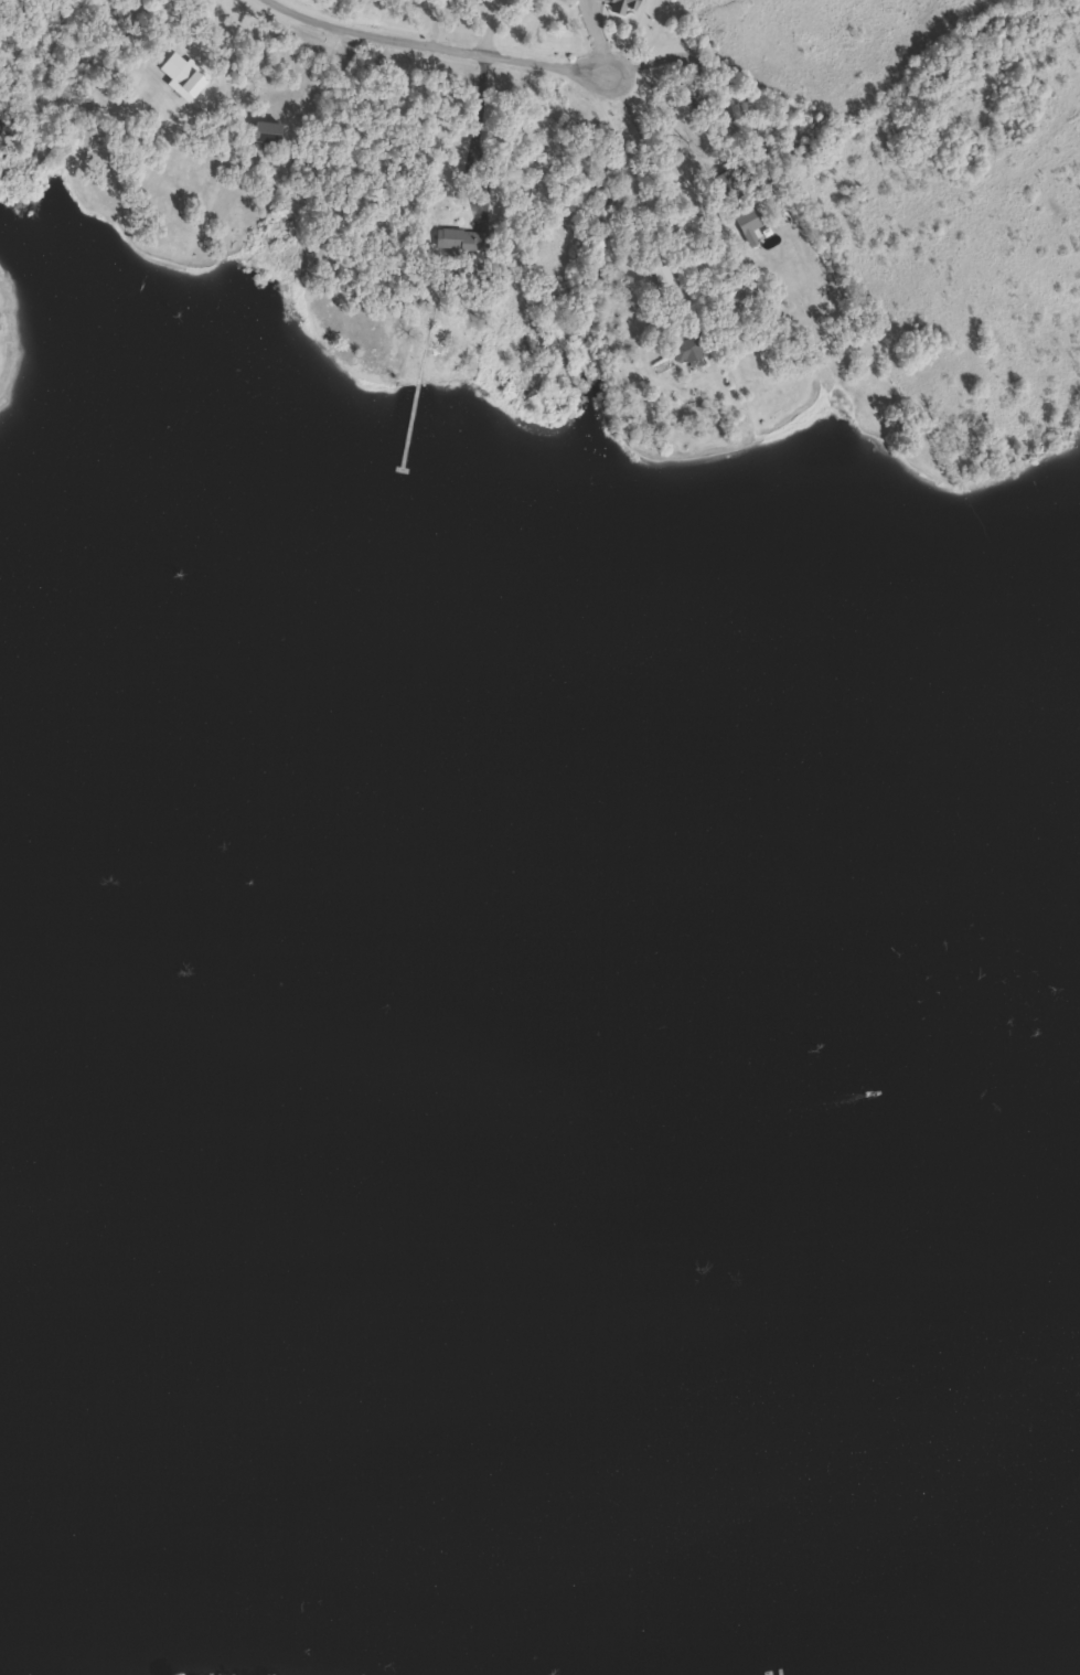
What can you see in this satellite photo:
building: (624, 6)
road: (436, 45)
building: (271, 132)
building: (464, 239)
building: (692, 348)

